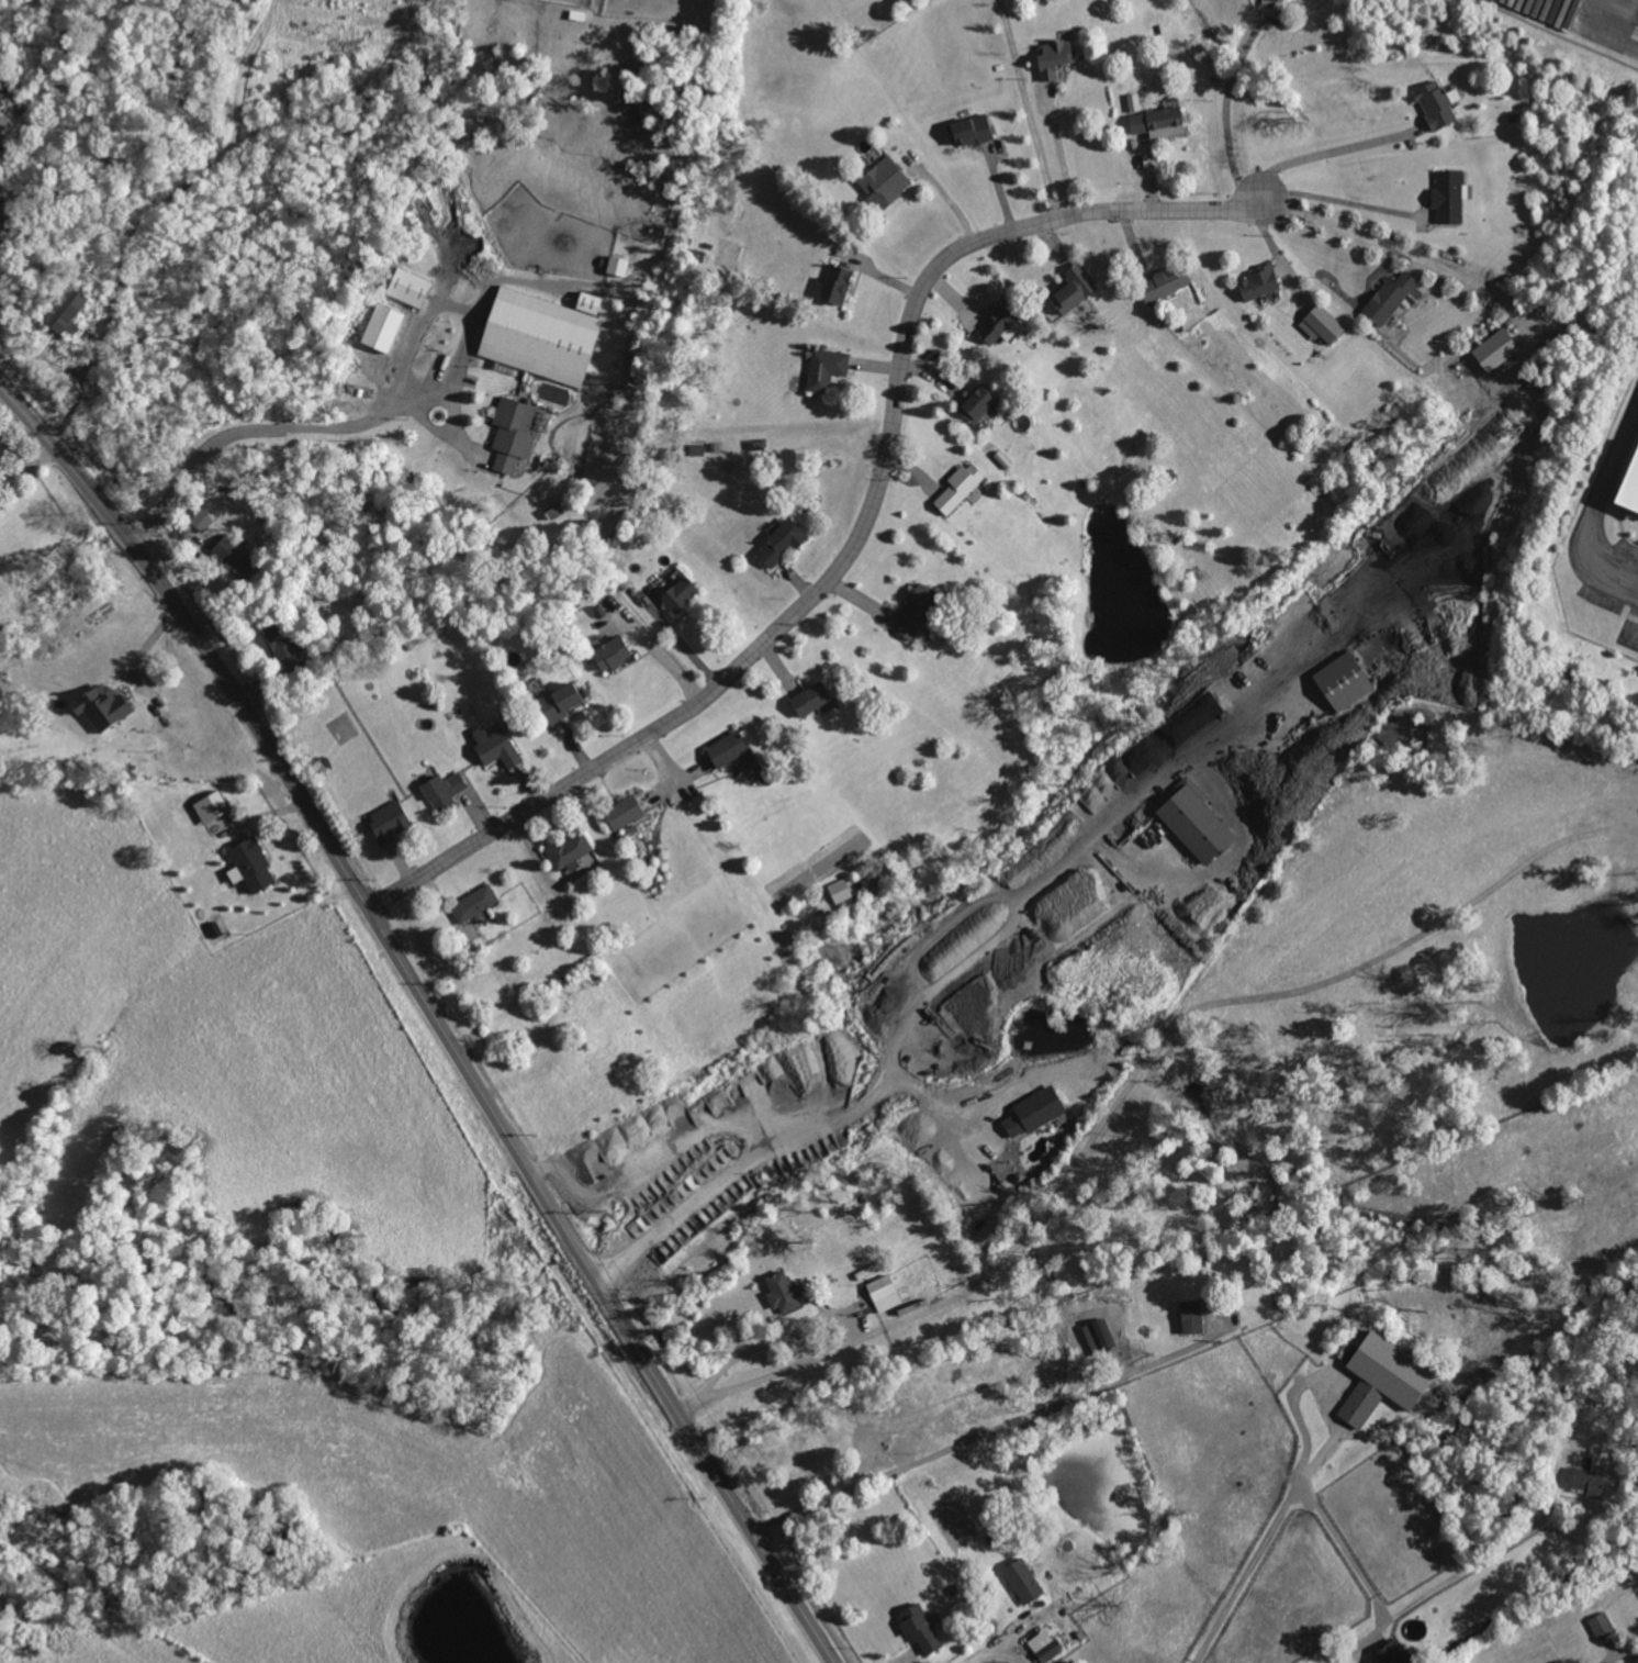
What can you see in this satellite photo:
building: (1054, 58)
road: (1225, 101)
building: (1437, 104)
road: (1028, 109)
building: (1158, 120)
building: (7, 129)
building: (975, 131)
road: (1330, 153)
building: (885, 185)
building: (1450, 197)
road: (1333, 201)
building: (9, 216)
road: (1393, 245)
building: (618, 265)
building: (1260, 281)
building: (1167, 282)
building: (838, 283)
building: (409, 286)
building: (1074, 288)
building: (1390, 299)
building: (590, 301)
building: (68, 310)
building: (1000, 323)
building: (1322, 324)
building: (383, 326)
building: (541, 335)
building: (1496, 348)
building: (829, 367)
road: (82, 387)
building: (980, 403)
road: (261, 427)
building: (513, 432)
road: (27, 465)
building: (964, 489)
building: (1629, 492)
road: (1594, 509)
building: (202, 518)
building: (784, 543)
road: (857, 544)
building: (236, 555)
building: (680, 594)
building: (919, 610)
building: (282, 641)
building: (613, 652)
building: (1344, 680)
building: (816, 699)
building: (560, 701)
building: (103, 705)
building: (498, 747)
building: (730, 748)
building: (445, 791)
building: (212, 805)
building: (628, 812)
building: (1197, 821)
building: (388, 822)
building: (570, 849)
building: (254, 863)
road: (545, 864)
building: (842, 893)
building: (476, 903)
road: (899, 1005)
road: (1199, 1005)
road: (431, 1013)
building: (1034, 1110)
road: (947, 1127)
road: (644, 1161)
building: (784, 1291)
building: (884, 1292)
building: (1191, 1316)
building: (1099, 1333)
road: (783, 1369)
building: (1383, 1377)
road: (1032, 1417)
building: (1591, 1476)
road: (1312, 1500)
road: (1465, 1570)
building: (1023, 1580)
building: (1601, 1625)
building: (920, 1627)
building: (1045, 1644)
road: (996, 1651)
building: (1394, 1653)
road: (1614, 1655)

